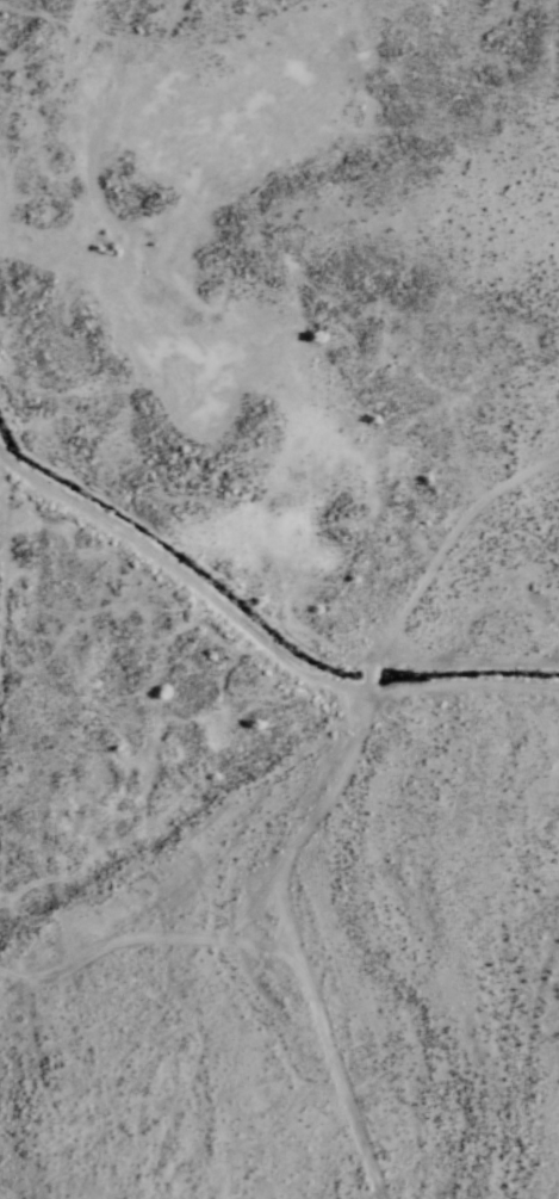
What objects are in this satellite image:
road: (254, 637)
road: (328, 801)
road: (153, 944)

